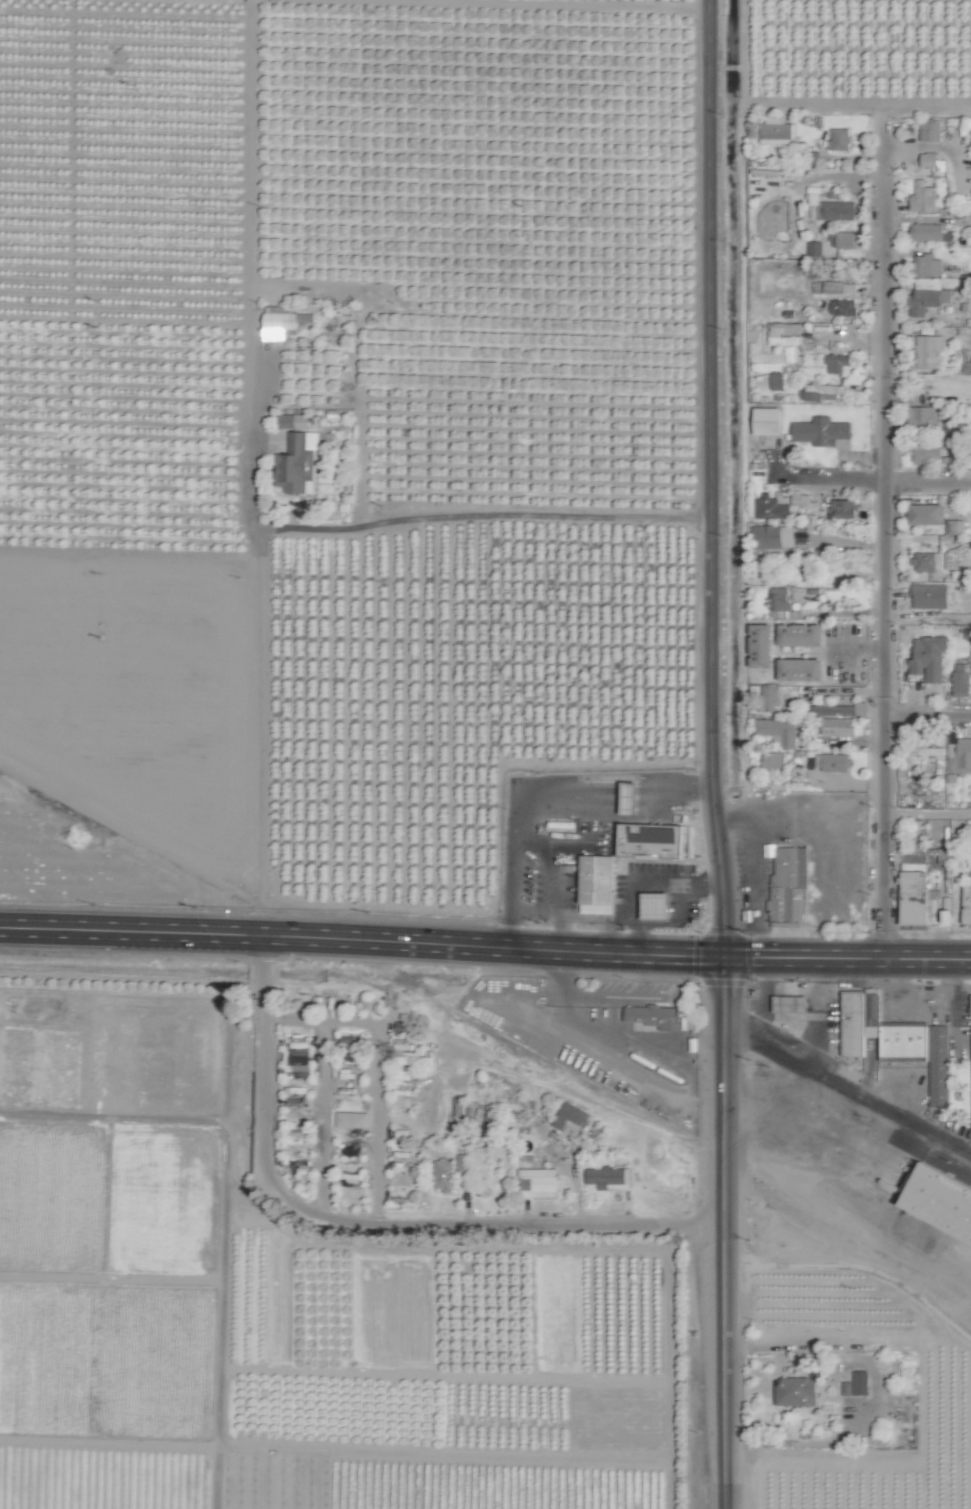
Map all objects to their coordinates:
building: (963, 126)
building: (776, 131)
building: (931, 131)
building: (841, 140)
building: (814, 158)
building: (928, 160)
building: (923, 198)
building: (831, 209)
building: (930, 233)
building: (833, 240)
building: (846, 240)
building: (928, 266)
building: (834, 287)
building: (928, 298)
building: (843, 307)
building: (282, 323)
building: (778, 335)
building: (928, 351)
building: (765, 362)
building: (837, 363)
building: (967, 367)
building: (777, 381)
building: (821, 393)
building: (924, 420)
building: (294, 421)
building: (768, 421)
building: (821, 432)
building: (931, 451)
building: (298, 465)
road: (709, 478)
road: (819, 478)
road: (928, 480)
building: (801, 500)
building: (773, 506)
building: (843, 509)
building: (927, 515)
building: (956, 527)
road: (286, 531)
building: (772, 537)
road: (886, 537)
building: (926, 562)
building: (931, 596)
building: (782, 604)
building: (802, 634)
building: (763, 645)
building: (930, 657)
building: (802, 669)
building: (962, 679)
building: (770, 697)
road: (929, 715)
building: (834, 718)
building: (779, 730)
crop: (373, 735)
building: (926, 750)
building: (775, 759)
building: (958, 759)
building: (831, 761)
road: (674, 789)
building: (632, 794)
road: (632, 795)
road: (928, 813)
road: (516, 827)
building: (916, 834)
building: (958, 839)
building: (653, 840)
building: (969, 860)
road: (555, 880)
road: (643, 883)
building: (598, 884)
building: (789, 885)
building: (914, 897)
building: (967, 902)
building: (658, 905)
road: (580, 918)
road: (604, 920)
road: (361, 941)
road: (259, 951)
traffic signals: (723, 957)
road: (846, 958)
road: (260, 976)
building: (656, 1017)
building: (898, 1041)
building: (347, 1053)
building: (412, 1058)
road: (321, 1090)
road: (723, 1091)
road: (847, 1092)
road: (262, 1098)
building: (351, 1120)
building: (572, 1120)
building: (297, 1131)
building: (464, 1163)
building: (444, 1175)
building: (610, 1178)
building: (349, 1181)
building: (538, 1183)
building: (939, 1208)
road: (502, 1224)
road: (785, 1342)
road: (723, 1354)
building: (862, 1386)
building: (847, 1388)
building: (797, 1392)
road: (723, 1496)

